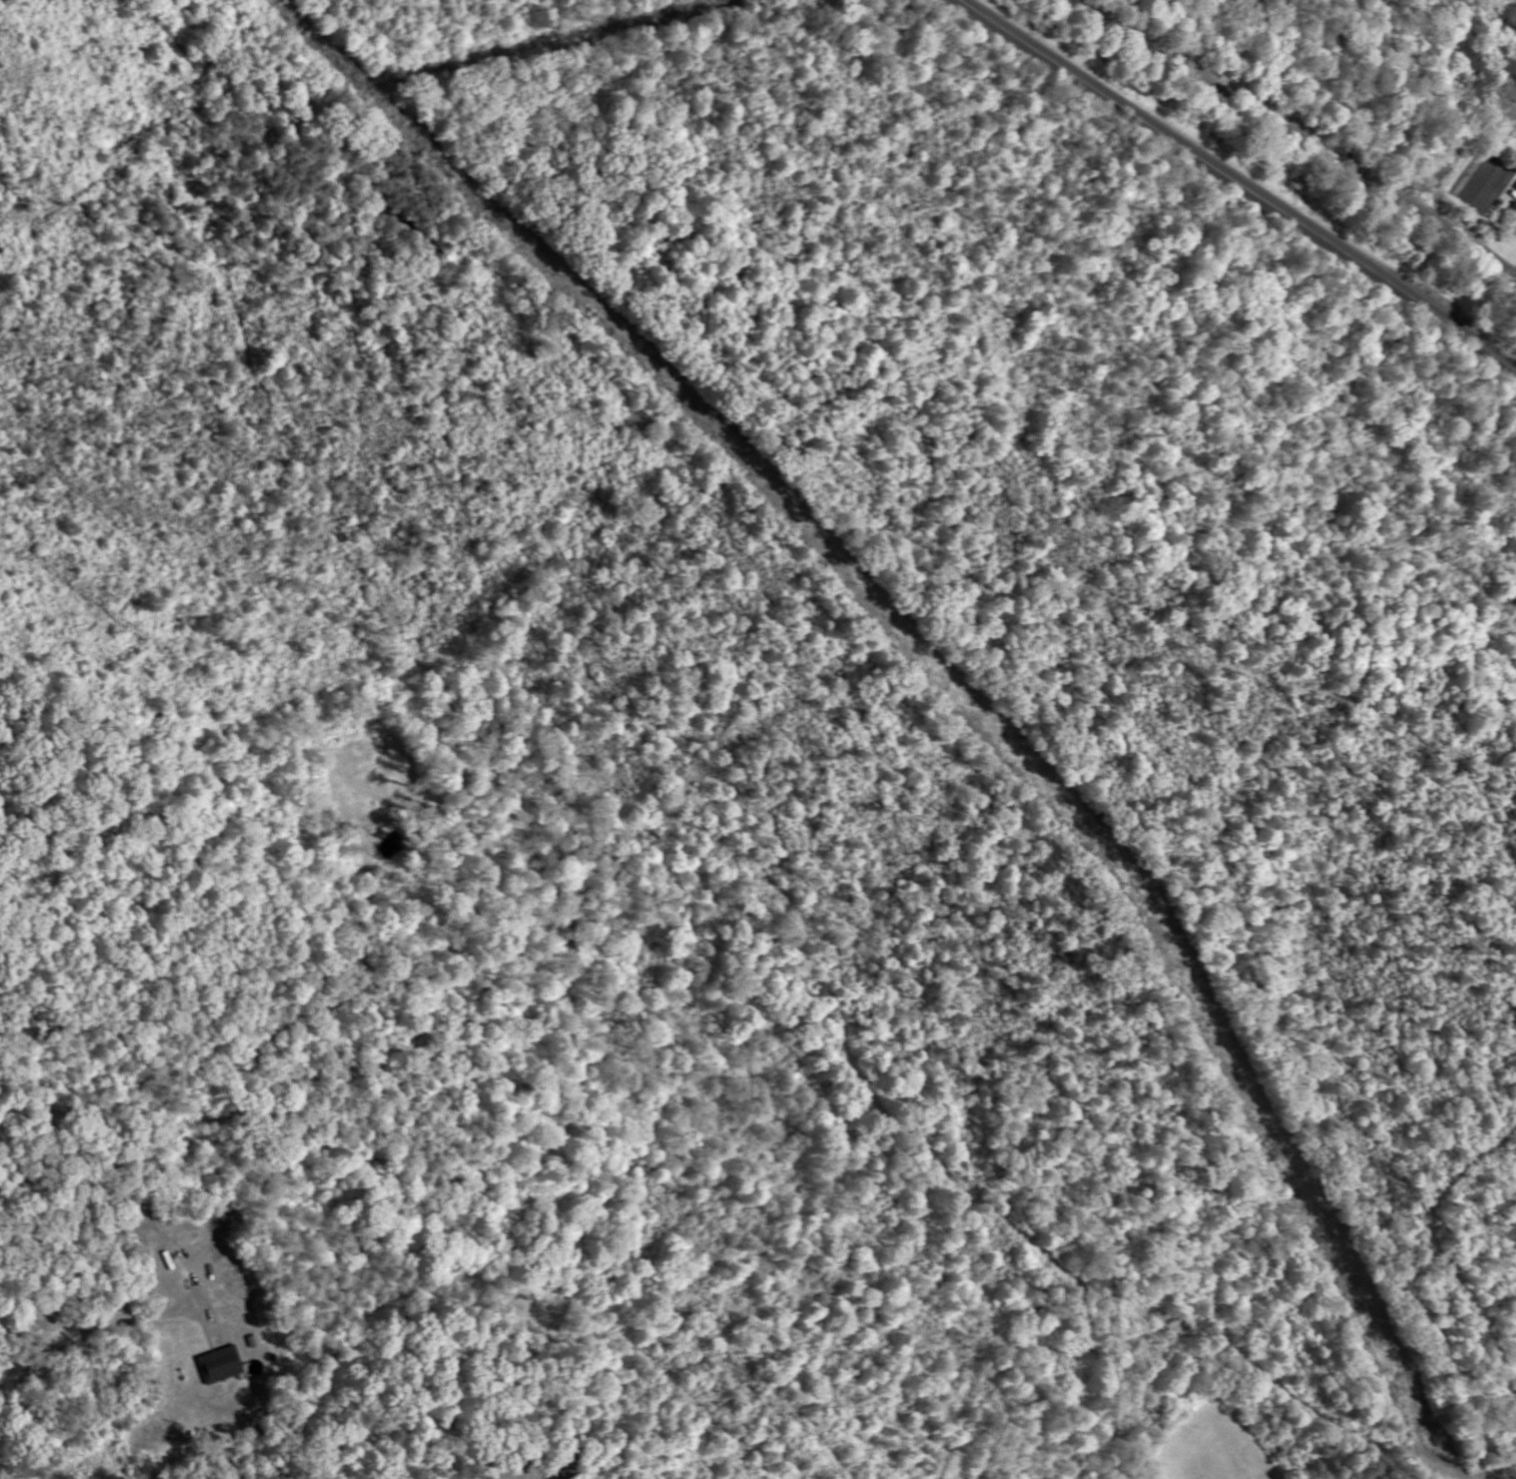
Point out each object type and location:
railway: (1295, 139)
road: (1241, 182)
building: (224, 1366)

